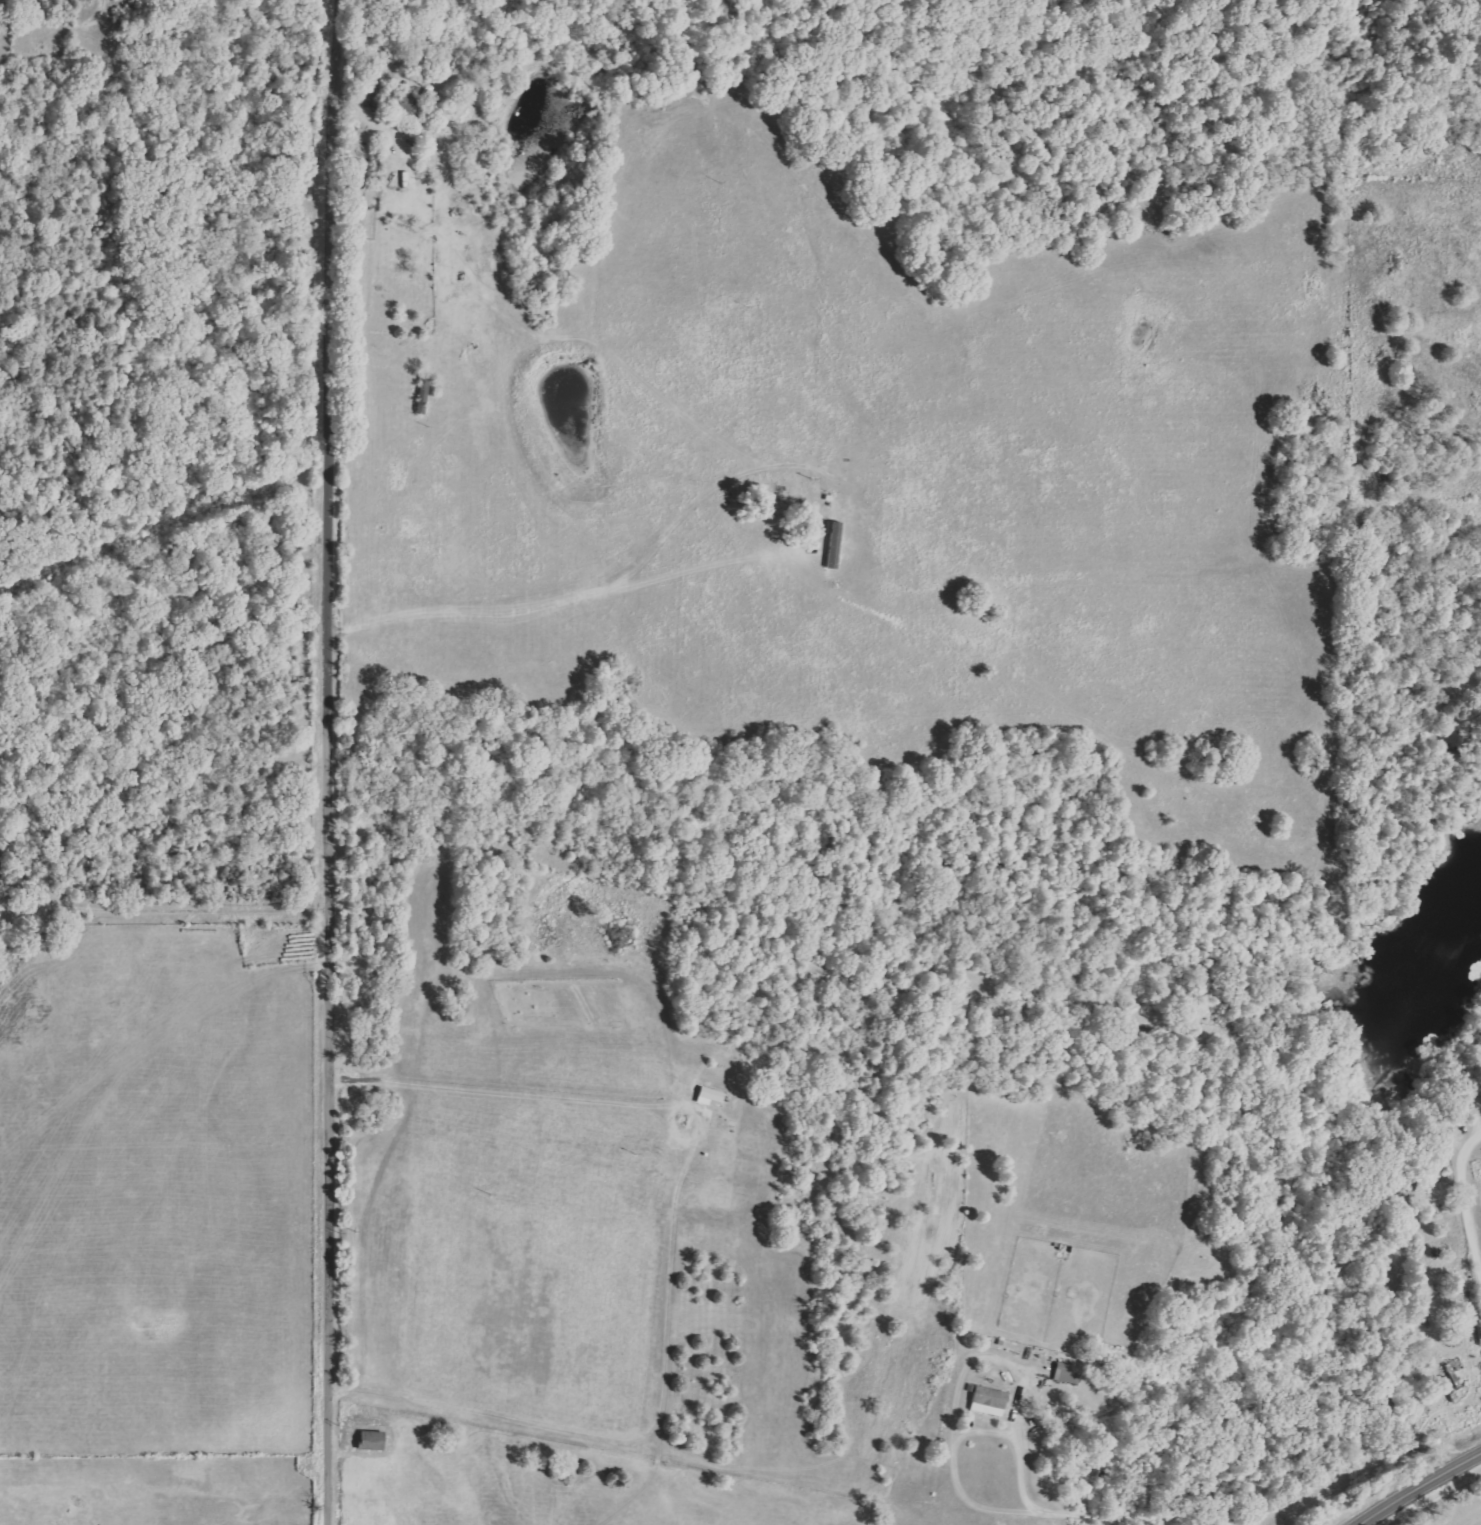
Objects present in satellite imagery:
building: (414, 106)
building: (834, 541)
road: (333, 760)
road: (166, 911)
road: (1110, 1056)
building: (714, 1096)
road: (1463, 1197)
road: (789, 1295)
road: (990, 1359)
building: (1071, 1373)
building: (993, 1400)
road: (965, 1438)
building: (377, 1440)
road: (1420, 1485)
road: (1140, 1518)

